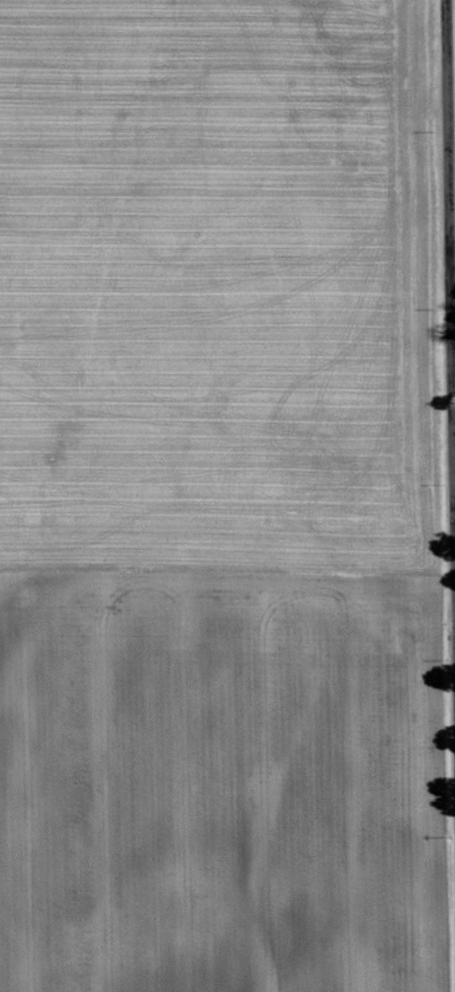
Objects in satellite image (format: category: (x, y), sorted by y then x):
road: (451, 274)
road: (448, 338)
road: (452, 356)

